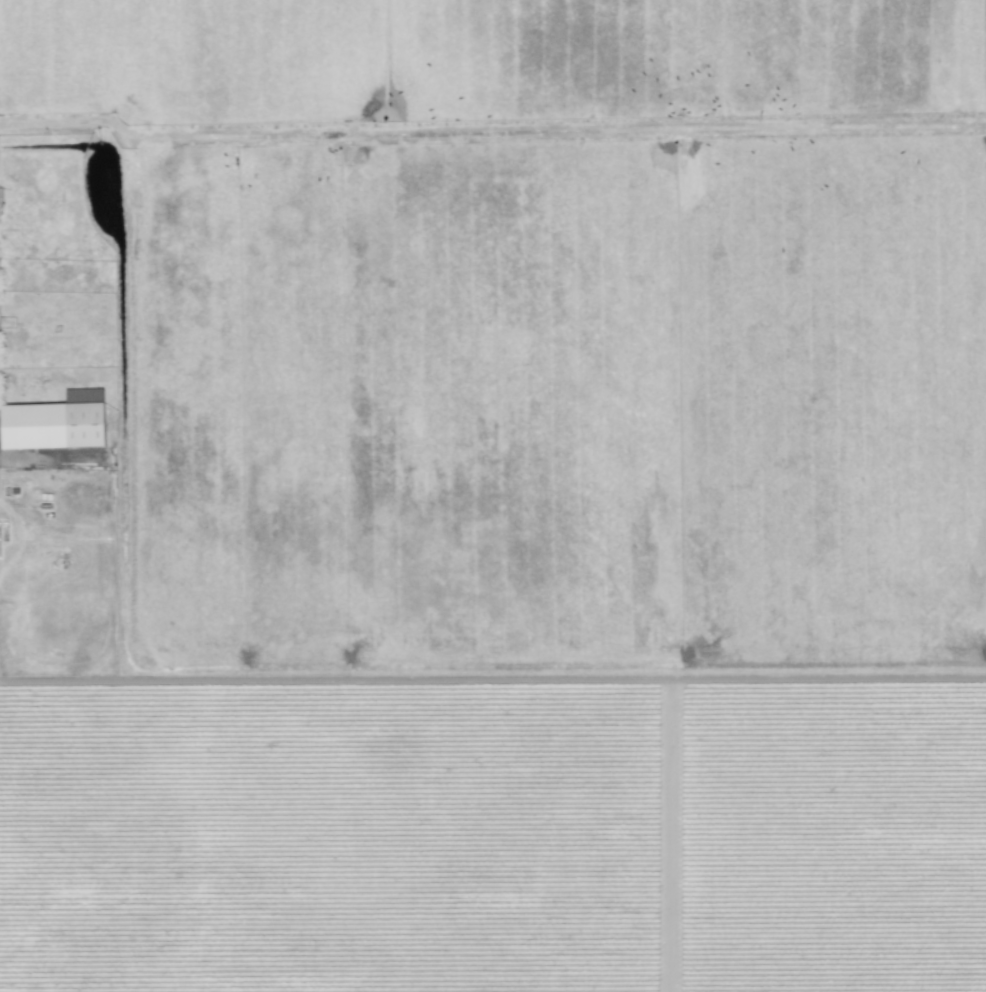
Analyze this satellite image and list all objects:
building: (56, 422)
road: (493, 678)

